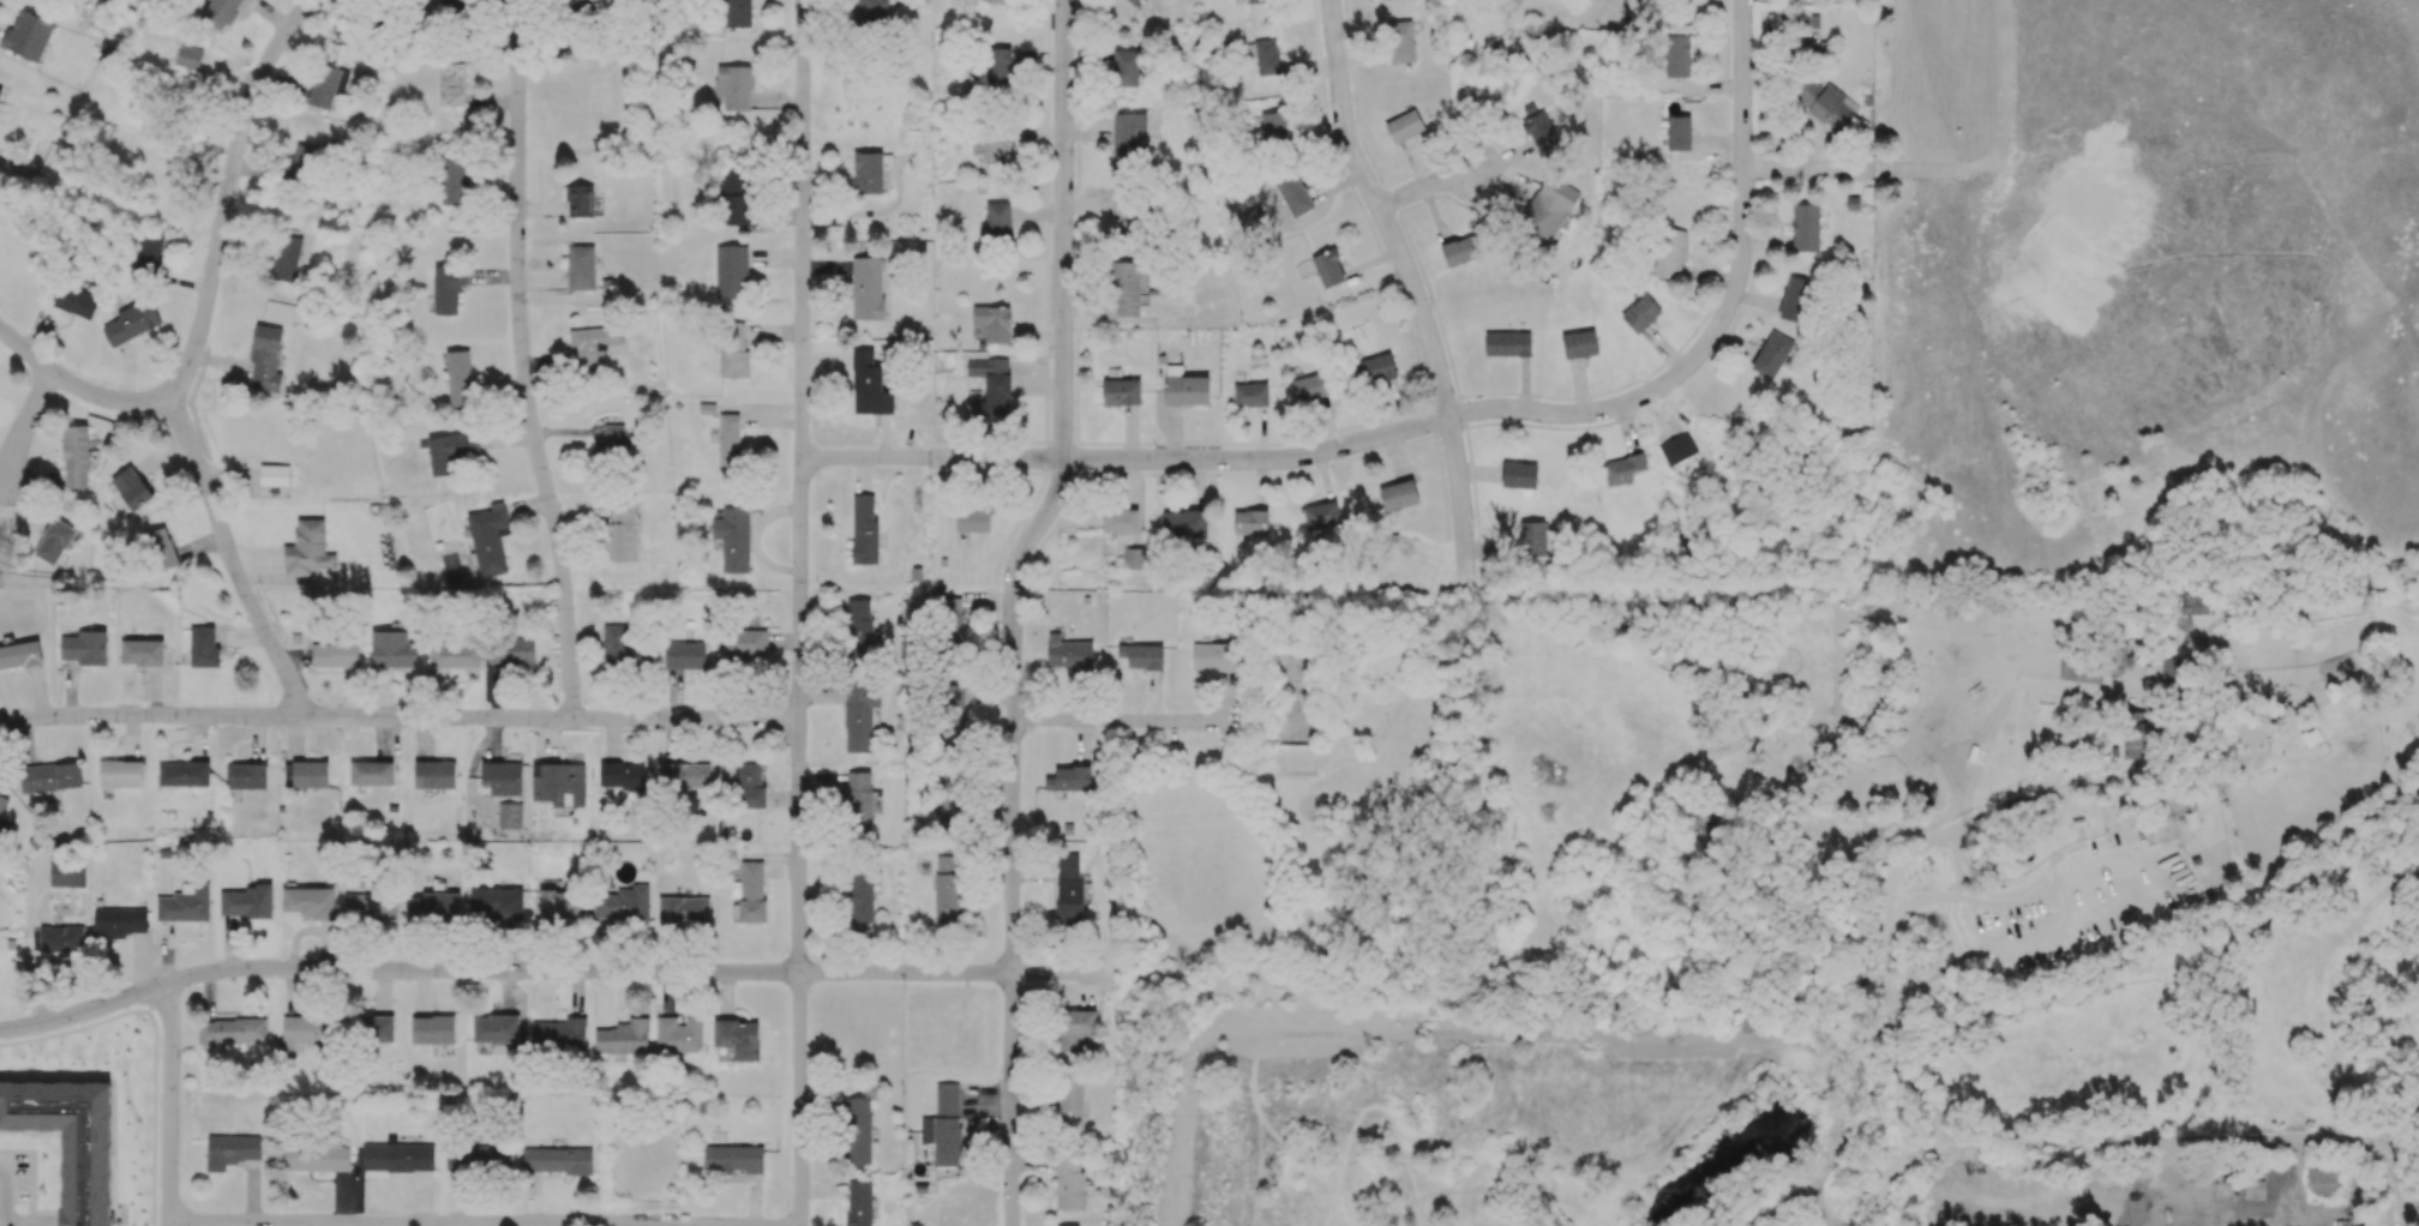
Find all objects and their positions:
building: (998, 1)
building: (1134, 1)
building: (1259, 1)
building: (454, 5)
building: (607, 8)
building: (871, 11)
building: (221, 12)
building: (736, 13)
building: (28, 35)
building: (1400, 42)
building: (187, 56)
building: (1266, 56)
building: (1676, 56)
building: (998, 66)
building: (1124, 68)
road: (2006, 80)
building: (451, 84)
building: (326, 85)
building: (733, 86)
building: (0, 92)
building: (1825, 103)
building: (1273, 126)
building: (1403, 126)
building: (1539, 131)
building: (1677, 133)
building: (1127, 134)
building: (994, 149)
building: (304, 162)
road: (1871, 170)
building: (870, 172)
building: (454, 182)
road: (1424, 186)
road: (227, 187)
building: (1293, 194)
building: (733, 199)
building: (580, 200)
building: (1548, 209)
building: (1126, 212)
road: (1743, 212)
building: (997, 220)
building: (1805, 228)
building: (149, 250)
building: (1460, 251)
building: (1670, 253)
building: (286, 258)
building: (581, 268)
building: (1327, 269)
building: (731, 272)
building: (1128, 287)
building: (868, 288)
road: (1412, 289)
park: (2151, 289)
building: (446, 290)
building: (1795, 299)
building: (74, 301)
building: (1640, 314)
building: (131, 321)
building: (992, 323)
building: (1507, 344)
building: (1579, 344)
building: (592, 347)
building: (733, 351)
building: (1771, 355)
building: (265, 359)
road: (521, 360)
building: (1374, 369)
building: (458, 379)
building: (865, 383)
building: (991, 385)
road: (79, 386)
building: (1310, 387)
building: (1121, 392)
building: (1250, 395)
road: (26, 423)
building: (728, 439)
building: (612, 444)
building: (450, 451)
building: (76, 455)
road: (1230, 459)
building: (1622, 469)
building: (274, 475)
building: (1519, 475)
building: (131, 488)
building: (1398, 495)
building: (1321, 516)
building: (972, 519)
building: (1120, 521)
building: (1250, 522)
building: (1184, 523)
building: (864, 529)
building: (623, 531)
building: (733, 539)
building: (1532, 539)
building: (488, 540)
building: (56, 541)
building: (161, 548)
building: (307, 549)
road: (227, 552)
building: (1133, 558)
building: (2195, 603)
road: (1013, 607)
road: (798, 612)
building: (952, 621)
building: (2131, 624)
building: (859, 629)
building: (743, 645)
building: (84, 648)
building: (203, 648)
building: (391, 649)
building: (623, 649)
building: (510, 651)
building: (140, 653)
building: (335, 654)
building: (20, 655)
building: (454, 655)
building: (684, 655)
building: (1069, 655)
building: (1141, 656)
building: (1214, 657)
building: (2081, 669)
building: (2173, 673)
building: (860, 715)
road: (397, 716)
building: (954, 717)
road: (1136, 723)
building: (2135, 734)
building: (120, 773)
building: (371, 773)
building: (184, 774)
building: (310, 774)
building: (433, 775)
building: (620, 775)
building: (684, 775)
building: (50, 776)
building: (246, 776)
building: (502, 777)
building: (1069, 779)
building: (558, 783)
building: (749, 787)
building: (2, 803)
road: (2015, 803)
building: (862, 805)
building: (509, 815)
park: (1308, 848)
building: (67, 873)
building: (947, 889)
building: (1068, 890)
building: (750, 891)
building: (862, 896)
building: (245, 902)
building: (310, 902)
building: (623, 903)
road: (1917, 903)
building: (185, 905)
building: (434, 905)
building: (560, 905)
building: (498, 906)
building: (370, 907)
building: (683, 909)
building: (118, 921)
road: (2051, 926)
building: (61, 938)
road: (552, 969)
building: (1075, 1028)
building: (376, 1029)
building: (432, 1029)
building: (494, 1029)
building: (232, 1030)
building: (305, 1030)
building: (559, 1034)
road: (1536, 1034)
building: (678, 1035)
building: (623, 1038)
building: (738, 1038)
building: (1070, 1102)
road: (172, 1104)
building: (943, 1125)
building: (859, 1131)
road: (1166, 1134)
building: (68, 1140)
road: (2132, 1141)
building: (232, 1150)
building: (314, 1158)
building: (397, 1158)
building: (478, 1159)
building: (732, 1159)
building: (557, 1160)
road: (1835, 1166)
building: (1069, 1183)
building: (2322, 1183)
road: (2402, 1189)
road: (5, 1192)
road: (1795, 1200)
building: (859, 1203)
road: (1883, 1203)
road: (439, 1224)
building: (1074, 1225)

